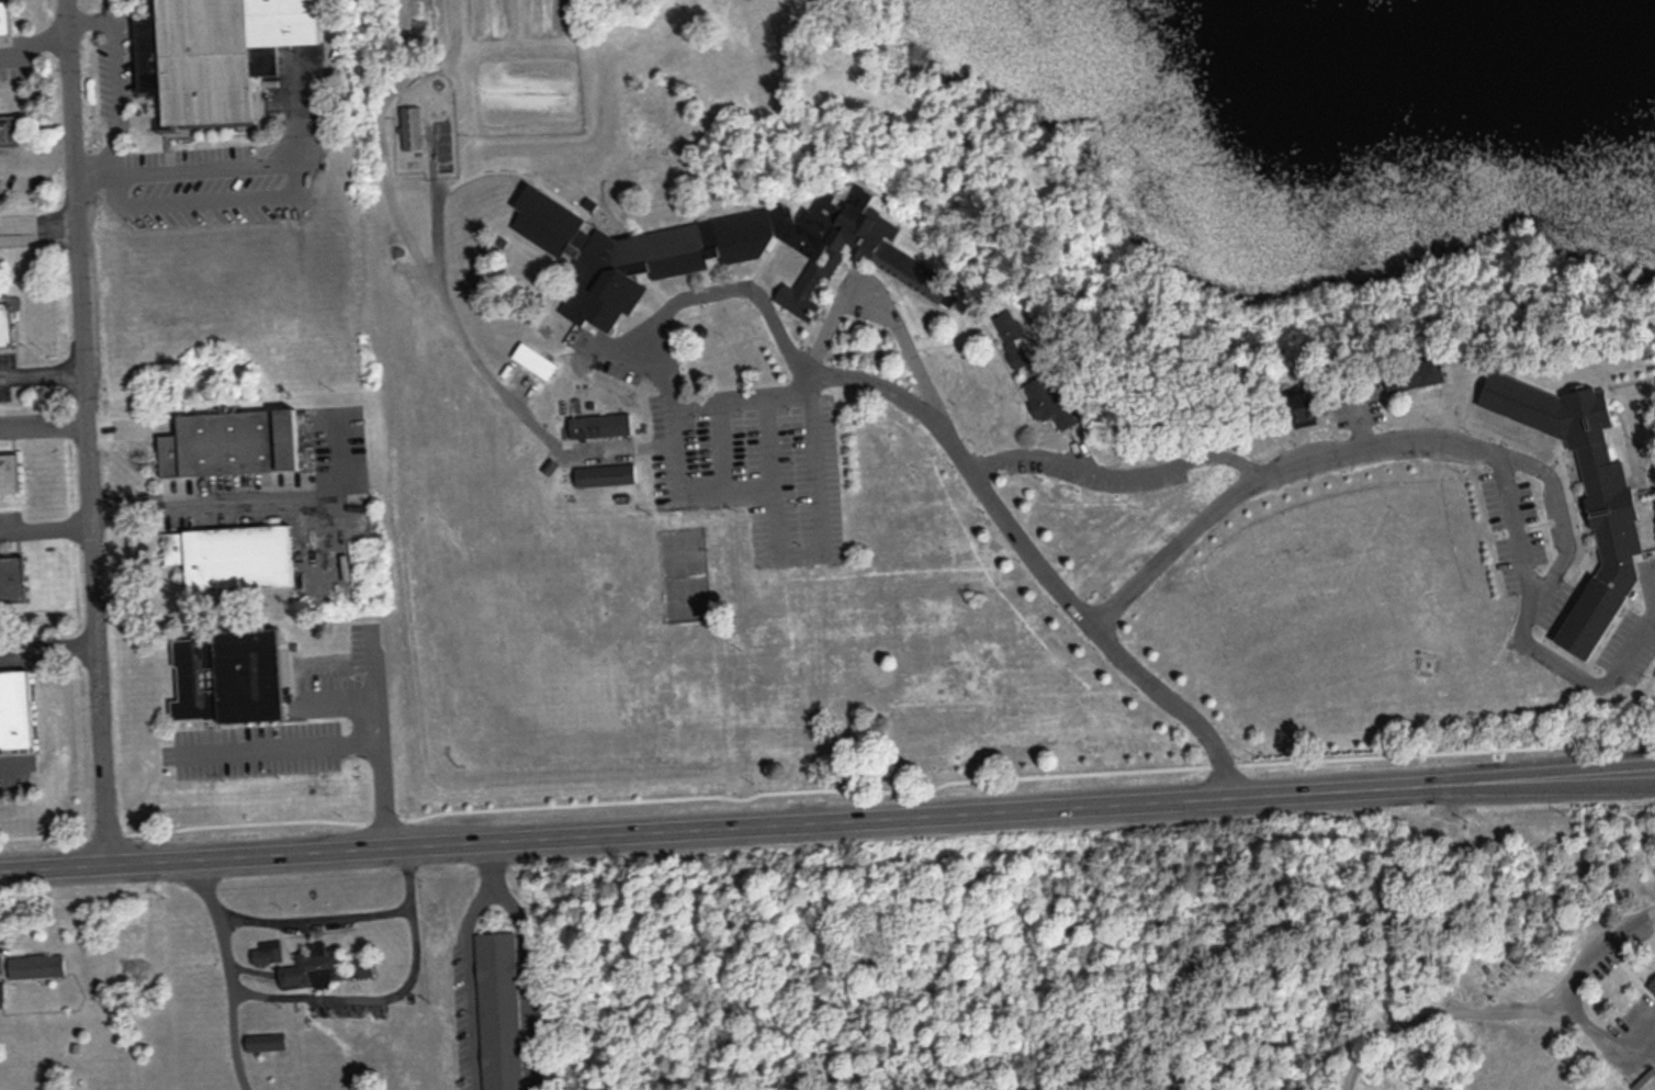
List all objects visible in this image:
building: (4, 18)
road: (33, 42)
building: (214, 54)
building: (264, 59)
road: (119, 79)
building: (410, 126)
building: (9, 130)
road: (95, 178)
road: (292, 189)
building: (717, 250)
road: (436, 278)
road: (883, 301)
building: (4, 324)
building: (1013, 336)
building: (536, 359)
road: (42, 371)
building: (1416, 375)
road: (879, 381)
building: (1048, 398)
building: (1303, 407)
building: (600, 424)
road: (43, 429)
road: (87, 432)
building: (230, 441)
road: (1374, 443)
road: (335, 456)
building: (9, 472)
building: (605, 473)
road: (1115, 475)
road: (214, 502)
building: (1611, 506)
road: (45, 527)
road: (775, 530)
road: (313, 540)
building: (232, 555)
building: (12, 578)
road: (48, 642)
building: (228, 675)
road: (347, 699)
building: (14, 708)
road: (382, 739)
road: (282, 746)
road: (10, 762)
road: (827, 823)
road: (496, 866)
road: (320, 918)
parking lot: (1619, 946)
building: (268, 951)
park: (1123, 955)
building: (36, 965)
building: (323, 966)
road: (1629, 970)
road: (235, 973)
building: (1652, 982)
road: (468, 984)
road: (527, 985)
building: (1, 993)
road: (395, 995)
road: (1507, 1009)
building: (497, 1010)
road: (1651, 1036)
parking lot: (1632, 1037)
building: (266, 1040)
road: (1611, 1044)
road: (1608, 1074)

